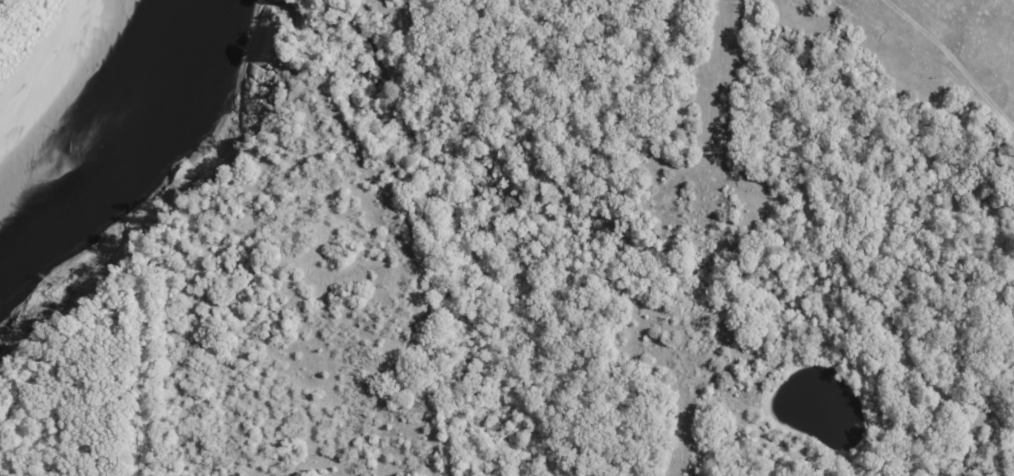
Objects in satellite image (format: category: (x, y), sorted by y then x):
river: (98, 110)

